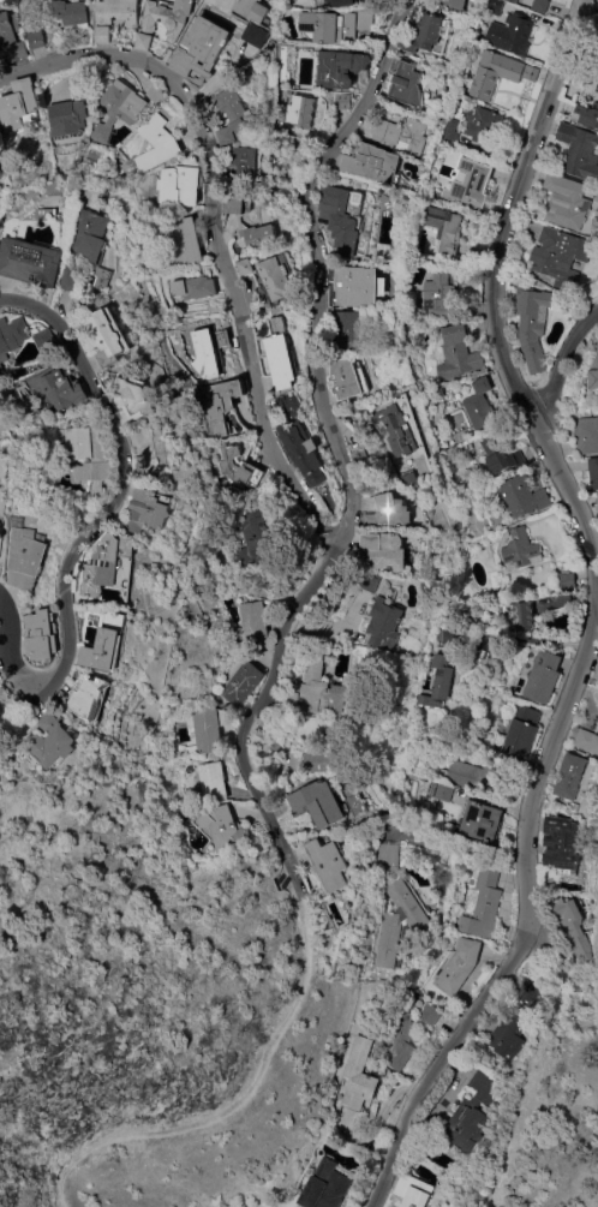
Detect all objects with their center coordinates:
building: (514, 1)
building: (343, 4)
building: (452, 5)
building: (540, 5)
building: (492, 7)
building: (72, 13)
building: (115, 17)
building: (256, 19)
building: (177, 25)
building: (336, 25)
building: (10, 29)
building: (426, 32)
building: (510, 34)
building: (37, 35)
building: (202, 48)
building: (17, 50)
building: (340, 68)
building: (497, 73)
building: (409, 85)
building: (159, 94)
building: (341, 102)
building: (19, 104)
building: (122, 109)
building: (301, 112)
building: (586, 115)
building: (235, 116)
building: (72, 118)
building: (483, 124)
building: (448, 132)
building: (401, 135)
building: (161, 143)
building: (579, 151)
building: (372, 163)
building: (245, 167)
building: (471, 183)
building: (181, 185)
building: (596, 197)
building: (566, 202)
building: (235, 205)
building: (337, 220)
building: (445, 229)
road: (217, 233)
building: (95, 235)
building: (258, 235)
building: (186, 241)
building: (558, 255)
building: (36, 263)
building: (245, 267)
building: (275, 276)
building: (77, 280)
road: (496, 282)
building: (355, 287)
building: (195, 288)
building: (437, 297)
building: (532, 325)
building: (346, 331)
building: (113, 336)
building: (14, 337)
building: (53, 342)
building: (597, 343)
building: (204, 352)
building: (456, 354)
building: (280, 355)
road: (561, 376)
building: (346, 380)
building: (593, 380)
building: (68, 393)
building: (138, 398)
building: (479, 405)
building: (222, 406)
building: (395, 430)
road: (335, 435)
building: (588, 435)
building: (303, 453)
building: (90, 454)
building: (501, 456)
building: (360, 459)
building: (240, 466)
building: (594, 473)
building: (408, 478)
road: (122, 492)
building: (521, 497)
building: (597, 502)
building: (153, 510)
building: (390, 512)
building: (2, 531)
building: (259, 540)
building: (521, 550)
building: (30, 551)
building: (383, 551)
building: (108, 563)
building: (371, 581)
building: (568, 581)
building: (521, 616)
building: (251, 623)
building: (385, 625)
building: (42, 635)
building: (450, 637)
road: (6, 638)
building: (106, 650)
building: (543, 676)
building: (597, 677)
building: (241, 683)
building: (439, 683)
building: (322, 692)
building: (88, 693)
building: (292, 699)
building: (208, 729)
building: (521, 731)
building: (587, 740)
building: (53, 742)
building: (317, 763)
building: (471, 777)
building: (572, 779)
building: (210, 782)
building: (442, 793)
building: (319, 803)
road: (492, 803)
building: (480, 820)
building: (222, 827)
building: (557, 835)
road: (524, 847)
building: (387, 856)
building: (329, 865)
road: (294, 876)
building: (483, 906)
building: (399, 921)
building: (572, 926)
building: (459, 967)
building: (530, 991)
building: (430, 1014)
building: (509, 1033)
building: (400, 1042)
building: (360, 1076)
road: (232, 1098)
building: (472, 1112)
road: (402, 1137)
building: (325, 1187)
building: (412, 1190)

